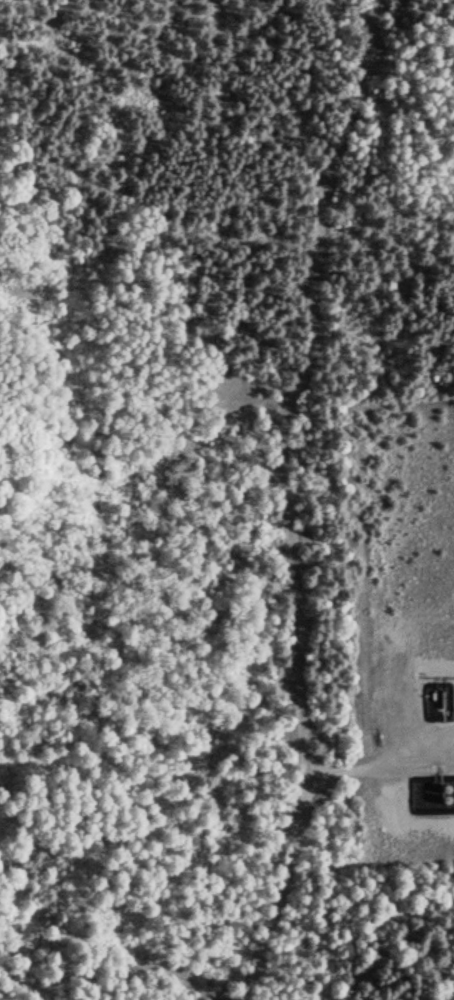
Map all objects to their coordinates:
road: (282, 507)

